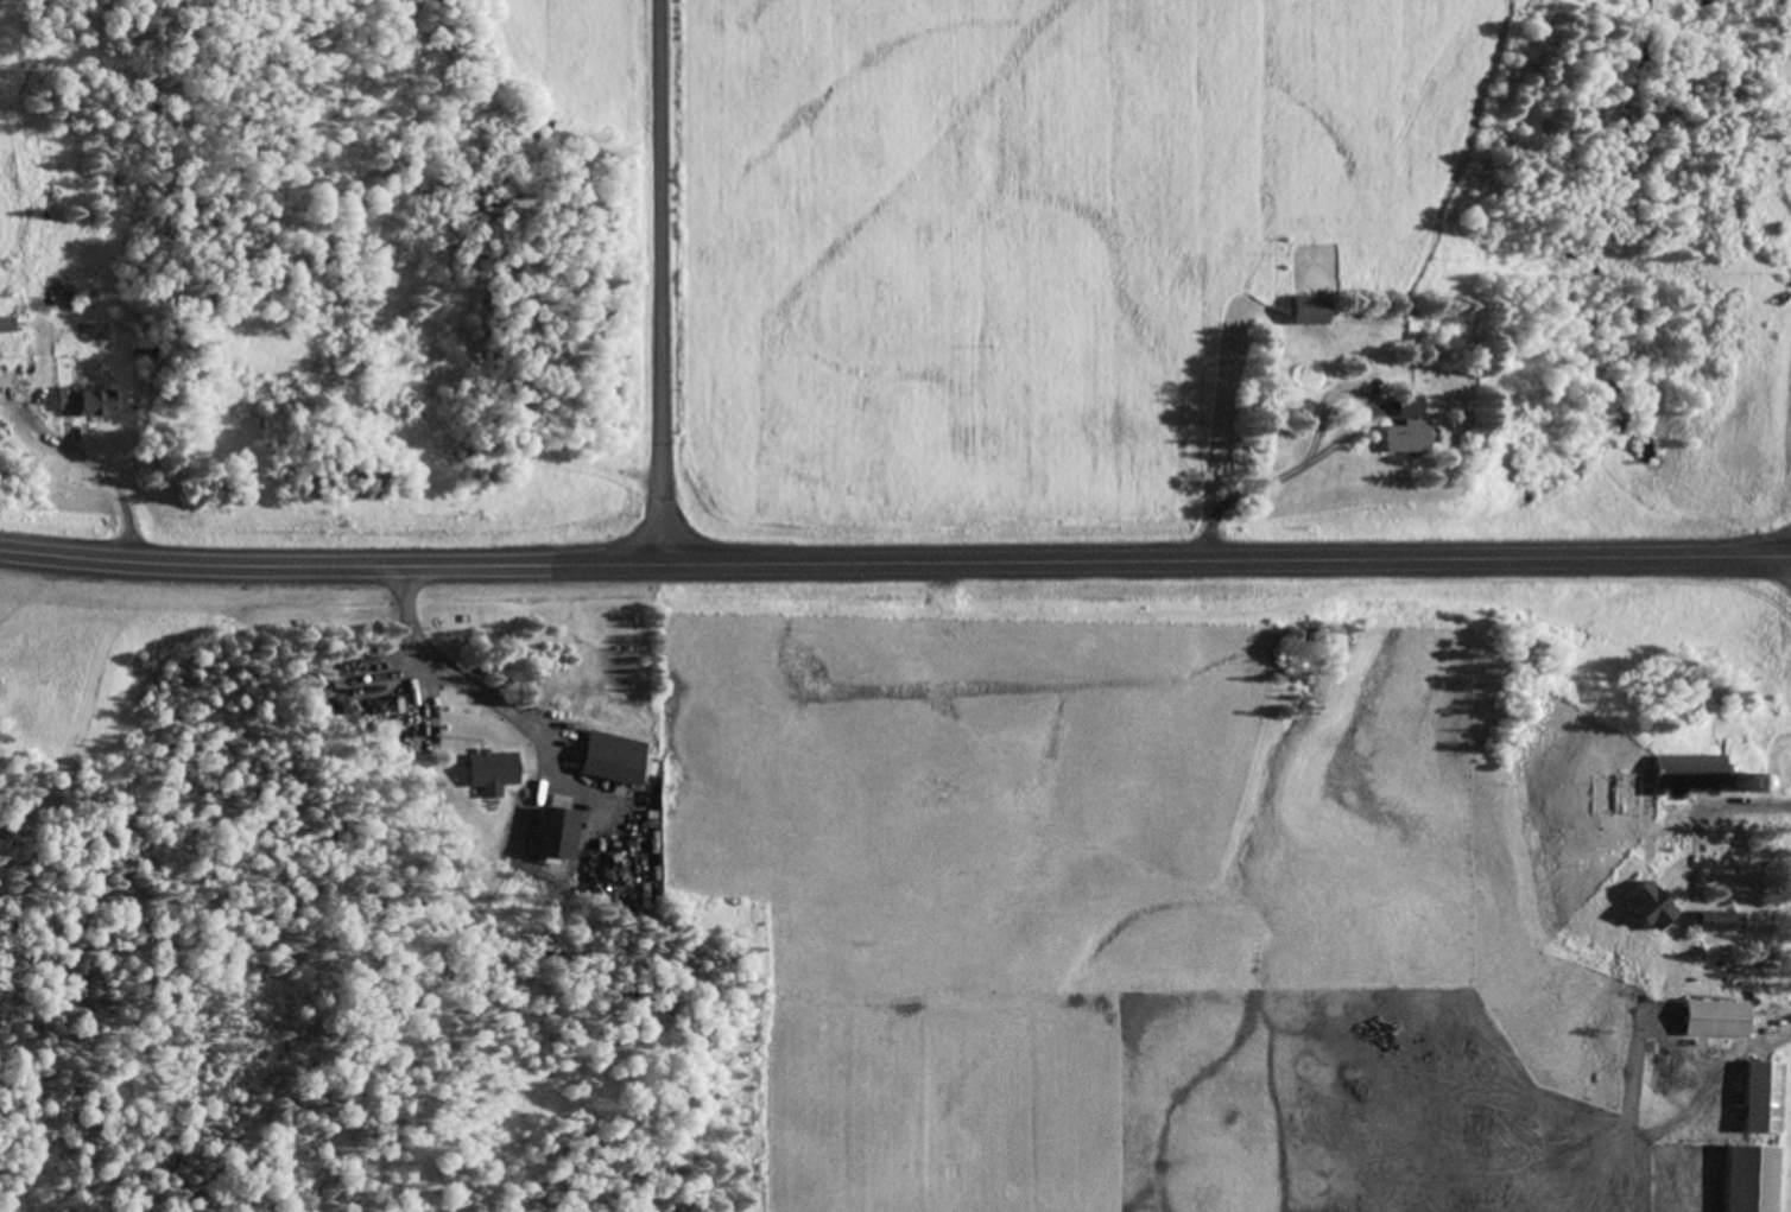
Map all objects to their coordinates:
crop: (1779, 0)
crop: (1018, 247)
road: (659, 283)
building: (57, 297)
building: (1302, 310)
building: (4, 326)
building: (77, 401)
building: (1403, 406)
building: (1400, 438)
road: (894, 561)
building: (593, 761)
building: (485, 769)
building: (1685, 773)
building: (1715, 922)
building: (1709, 1020)
building: (1755, 1098)
building: (1745, 1179)

